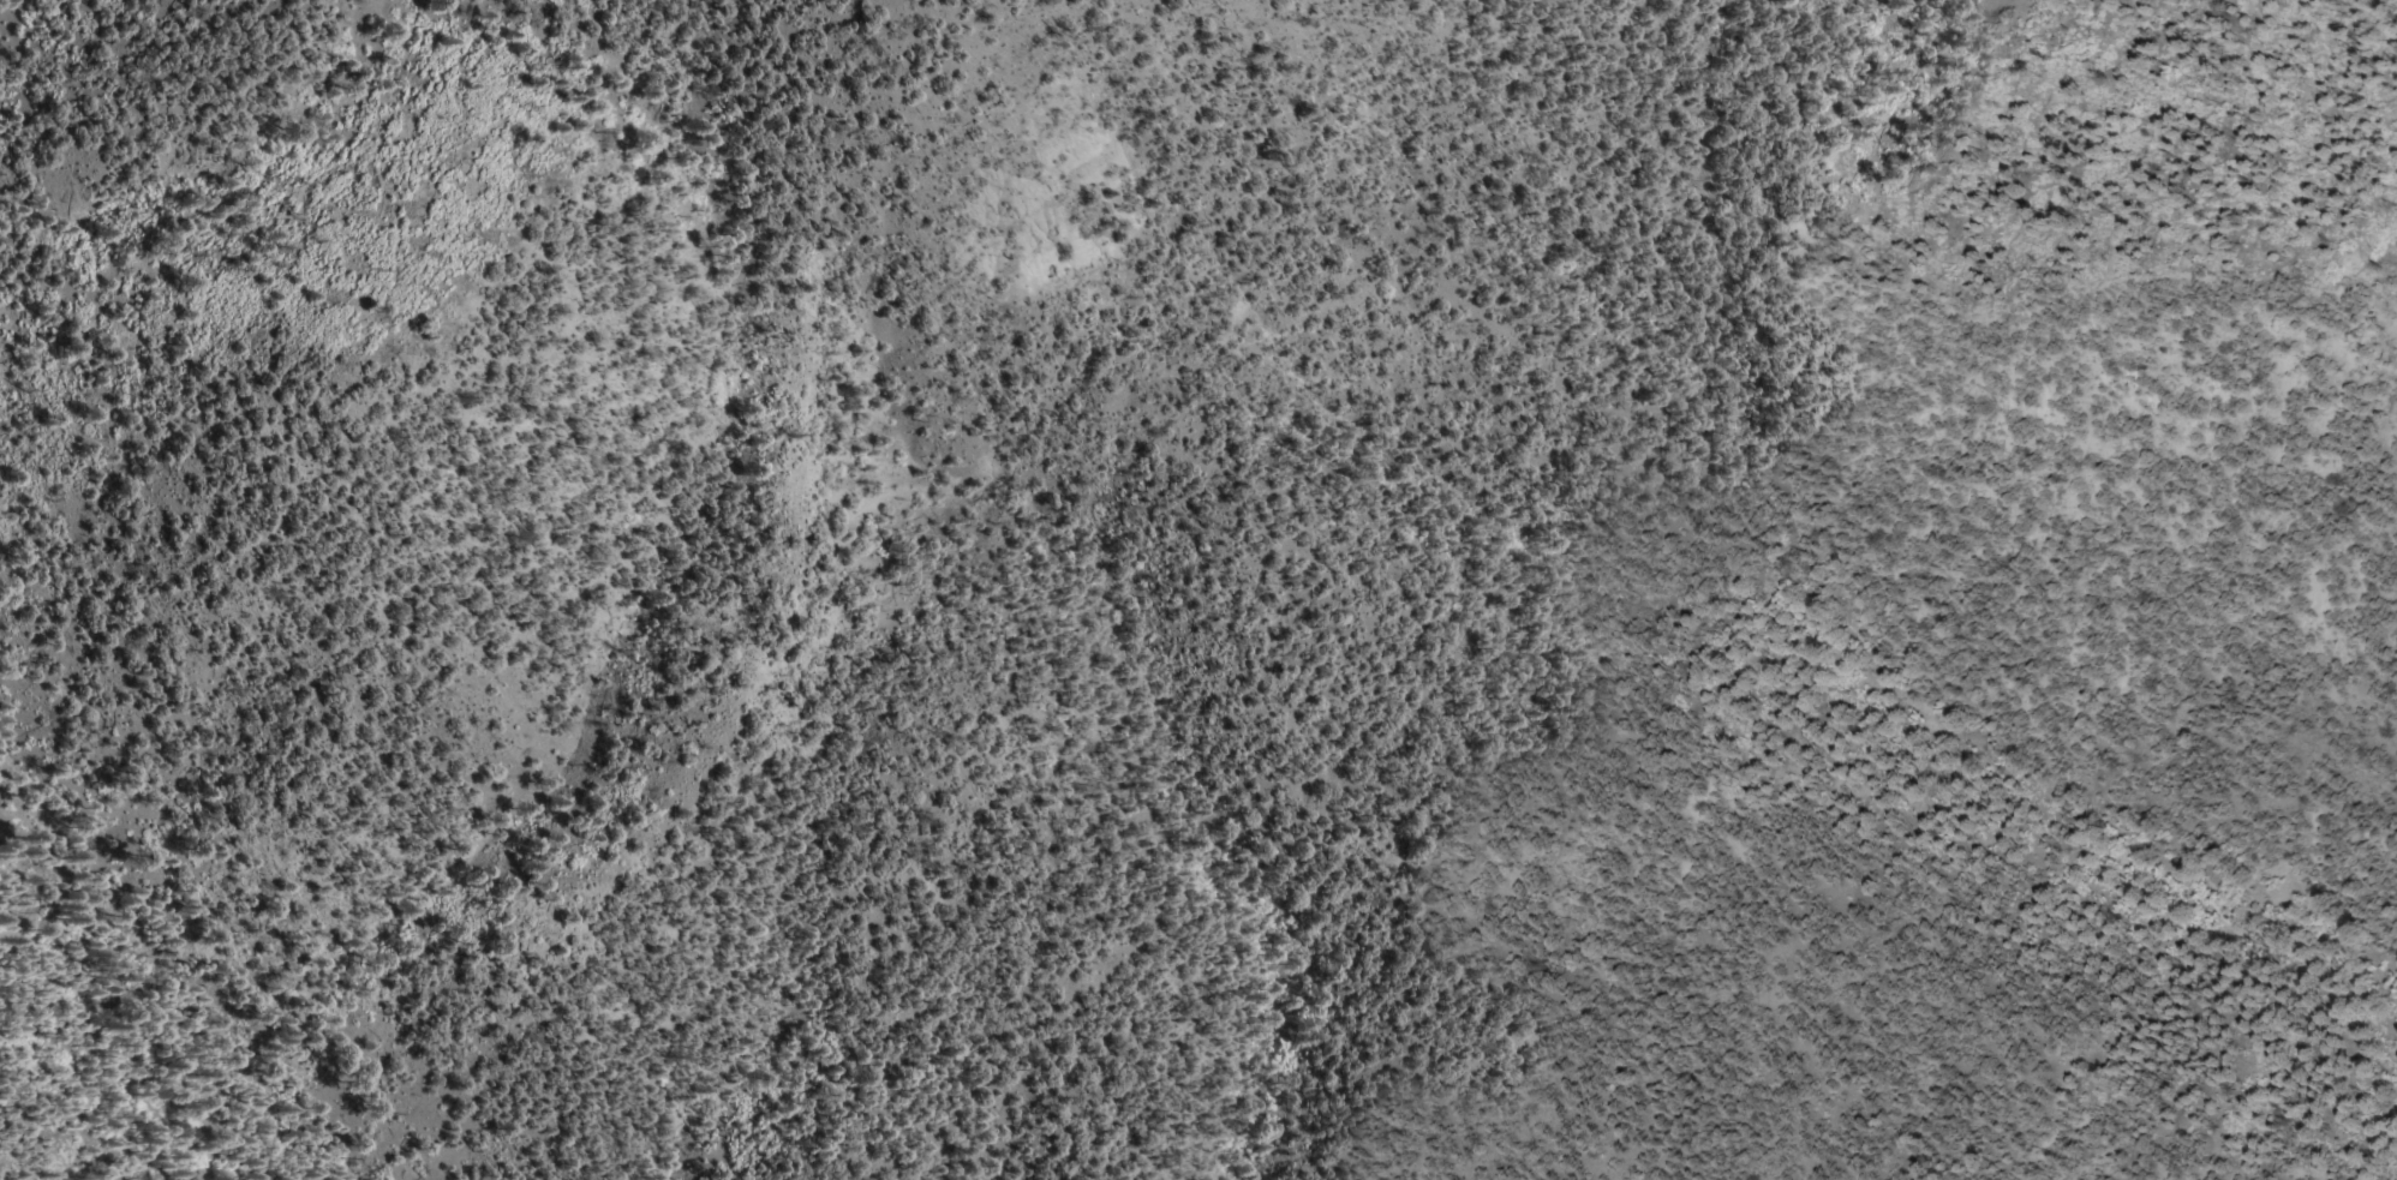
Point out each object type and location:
road: (23, 42)

